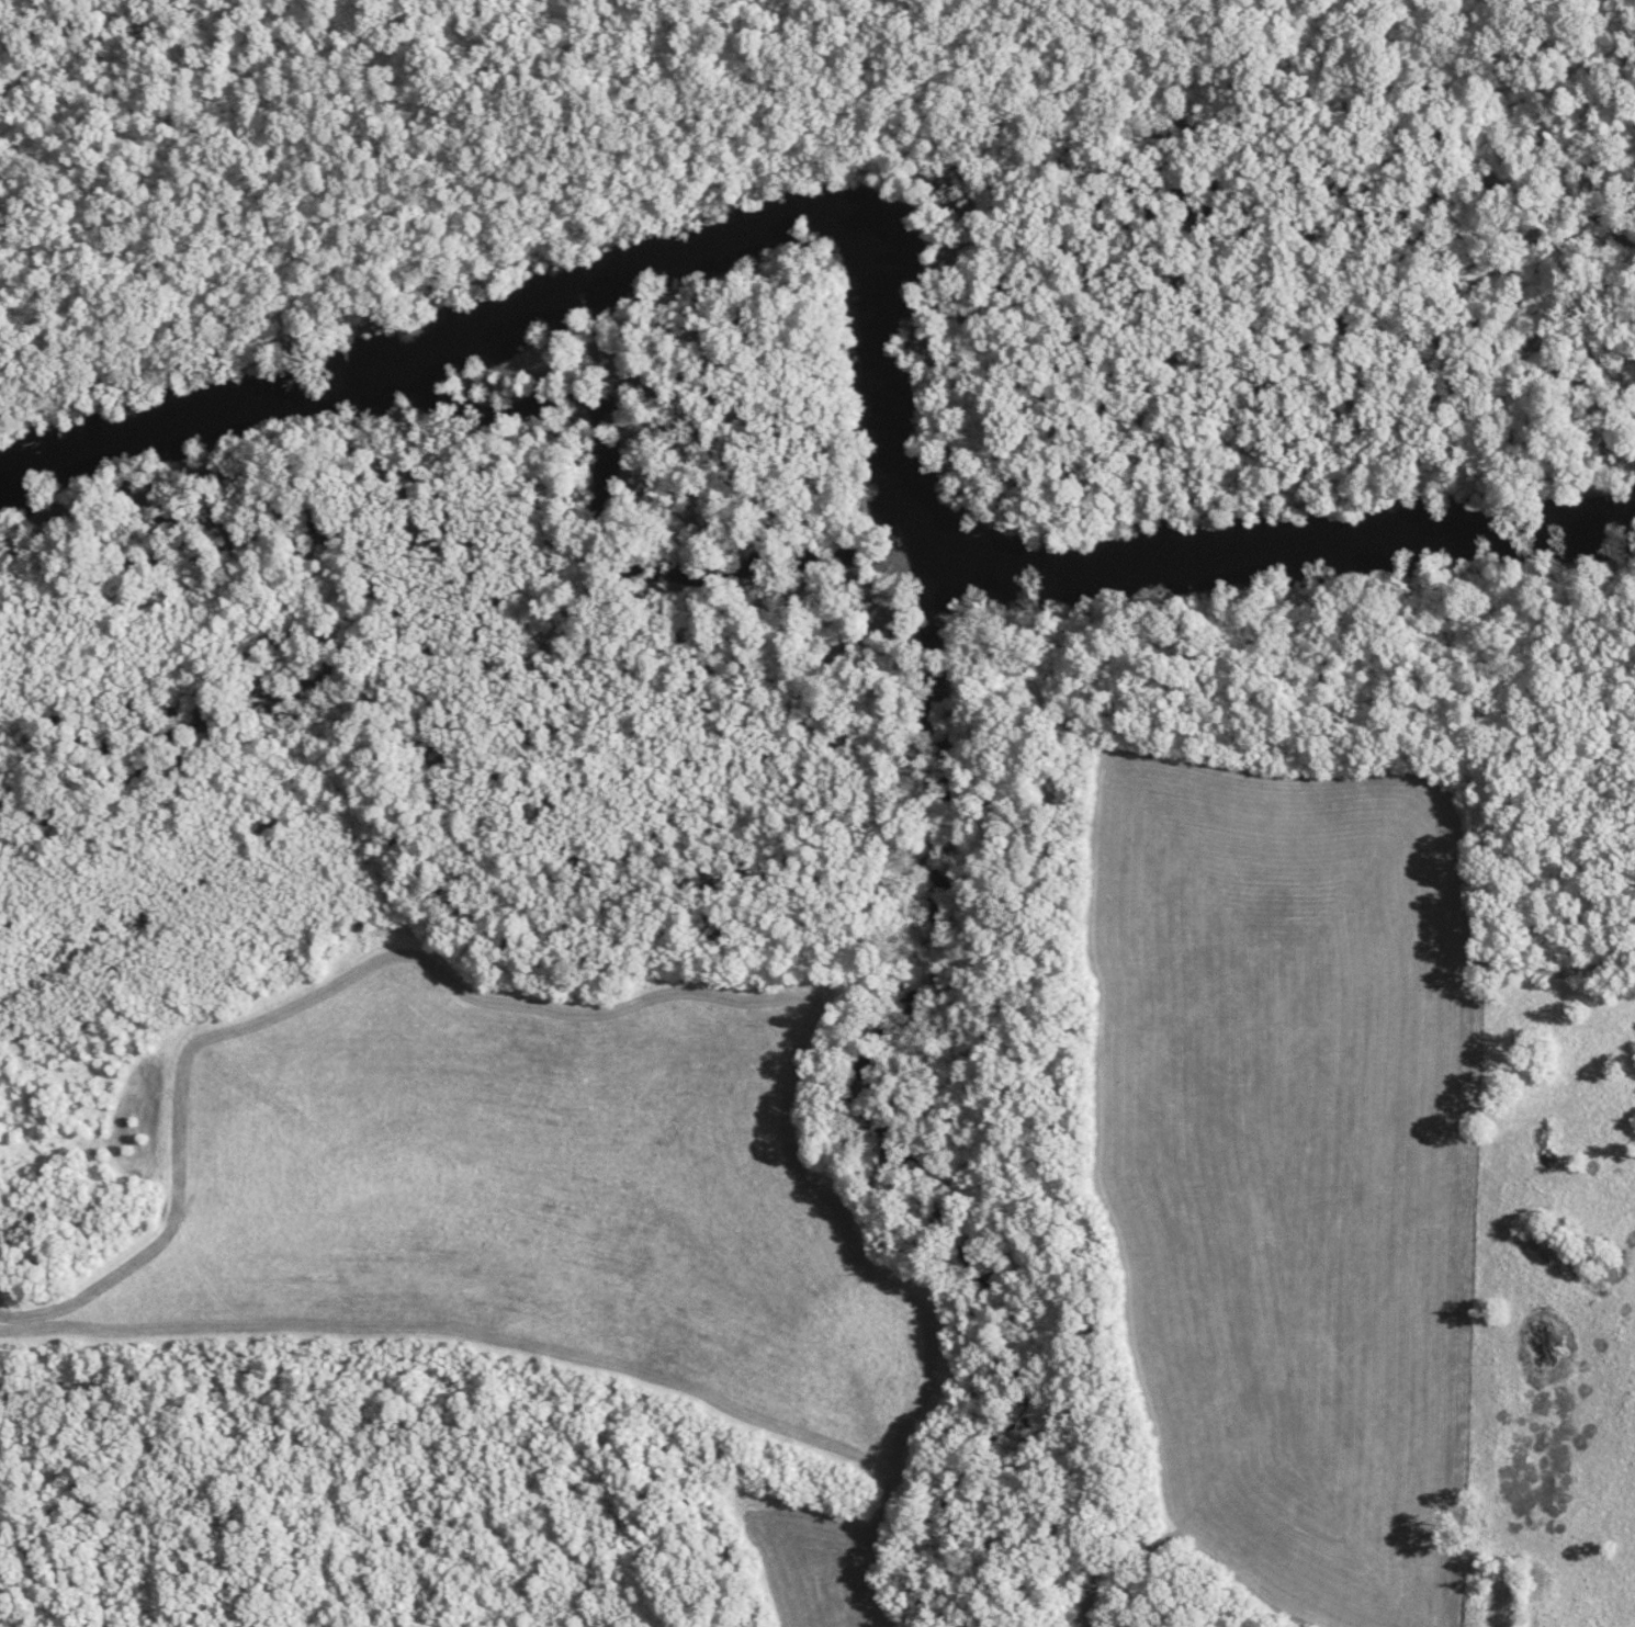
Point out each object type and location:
river: (890, 269)

